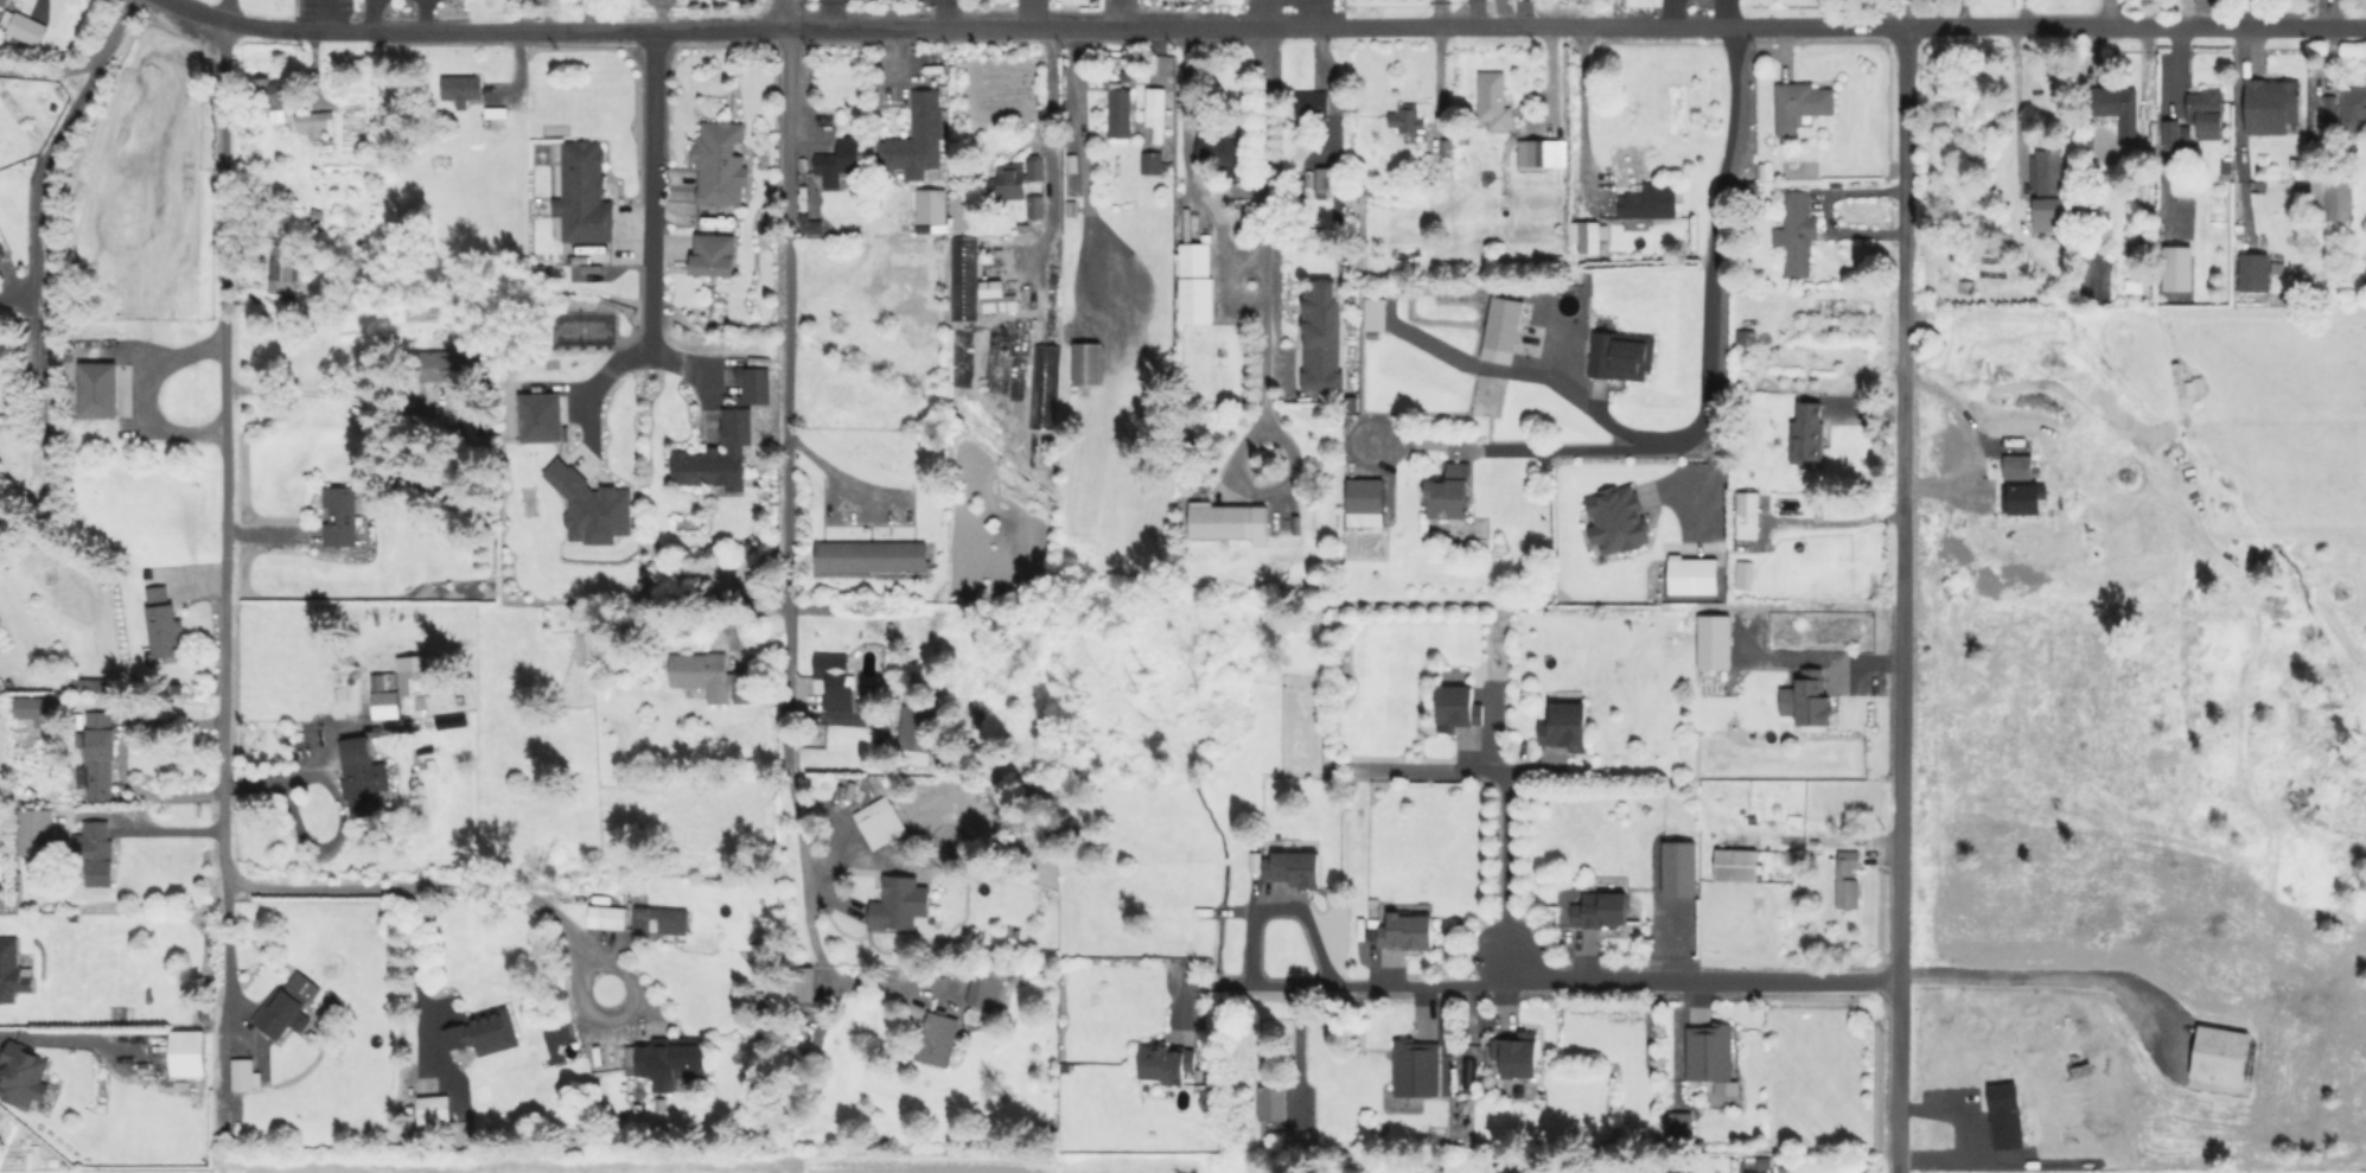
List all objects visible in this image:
building: (2311, 1)
building: (2, 5)
road: (223, 8)
road: (1480, 12)
road: (1732, 12)
road: (1886, 12)
road: (1906, 12)
road: (1962, 12)
road: (2021, 12)
road: (2249, 12)
road: (830, 13)
road: (945, 13)
road: (1122, 13)
road: (325, 15)
road: (1267, 25)
building: (24, 28)
road: (308, 55)
road: (51, 74)
building: (463, 89)
building: (273, 93)
building: (1493, 101)
building: (2355, 103)
building: (1800, 104)
building: (1313, 106)
road: (1582, 106)
building: (2272, 106)
building: (1156, 108)
road: (2016, 108)
building: (2117, 108)
building: (2207, 110)
building: (2330, 110)
building: (1120, 111)
building: (497, 113)
building: (1407, 121)
building: (313, 122)
building: (2172, 135)
building: (914, 138)
road: (1050, 147)
building: (1222, 149)
road: (45, 155)
building: (1542, 155)
road: (1186, 160)
building: (837, 161)
building: (1152, 162)
building: (721, 165)
building: (1037, 168)
road: (1082, 168)
building: (2051, 172)
building: (1324, 180)
building: (1008, 184)
building: (1754, 185)
road: (652, 190)
building: (585, 195)
building: (2332, 200)
building: (929, 205)
building: (1652, 205)
building: (1037, 206)
building: (2046, 215)
building: (809, 225)
building: (1798, 232)
building: (1586, 238)
building: (2136, 248)
building: (1, 249)
building: (1404, 250)
building: (710, 254)
building: (286, 269)
building: (2176, 269)
building: (2255, 270)
building: (964, 276)
building: (1197, 286)
building: (1966, 288)
building: (997, 298)
road: (786, 307)
building: (1377, 315)
road: (1263, 323)
building: (1321, 331)
building: (1503, 331)
building: (1021, 333)
building: (1747, 340)
building: (1621, 357)
building: (445, 366)
building: (1089, 366)
building: (757, 384)
road: (1708, 384)
building: (1046, 387)
road: (594, 389)
building: (98, 390)
road: (142, 390)
road: (330, 394)
road: (1590, 399)
building: (543, 419)
building: (0, 425)
building: (1807, 435)
road: (1972, 451)
building: (719, 455)
road: (822, 461)
building: (1452, 493)
building: (2027, 502)
building: (1366, 504)
building: (592, 506)
building: (342, 515)
building: (1748, 515)
building: (1614, 518)
building: (1219, 523)
building: (872, 560)
building: (1690, 572)
building: (1735, 579)
road: (1902, 598)
building: (164, 624)
road: (222, 624)
building: (1716, 644)
building: (589, 649)
building: (415, 674)
building: (704, 674)
building: (835, 683)
building: (84, 684)
building: (387, 696)
building: (1815, 699)
building: (1458, 708)
building: (36, 709)
building: (449, 722)
building: (1564, 726)
building: (919, 727)
building: (100, 754)
road: (120, 754)
building: (359, 777)
road: (792, 789)
road: (338, 805)
road: (1503, 805)
building: (36, 829)
building: (887, 837)
building: (96, 852)
building: (1739, 867)
building: (1297, 869)
building: (1681, 871)
building: (1848, 881)
building: (938, 882)
building: (1, 903)
building: (897, 903)
road: (1281, 905)
building: (1602, 909)
building: (604, 916)
building: (658, 919)
building: (917, 923)
building: (1408, 933)
road: (227, 952)
road: (416, 960)
building: (12, 971)
building: (797, 980)
road: (1548, 983)
road: (2046, 989)
building: (983, 993)
road: (595, 1012)
building: (278, 1014)
building: (484, 1033)
building: (938, 1041)
building: (191, 1052)
building: (1709, 1053)
building: (1518, 1054)
building: (2220, 1056)
building: (669, 1059)
building: (1162, 1064)
building: (1416, 1069)
building: (242, 1071)
building: (1469, 1071)
building: (25, 1075)
building: (1269, 1102)
building: (434, 1108)
building: (1681, 1124)
crop: (618, 1164)
building: (1662, 1172)
building: (1756, 1172)

